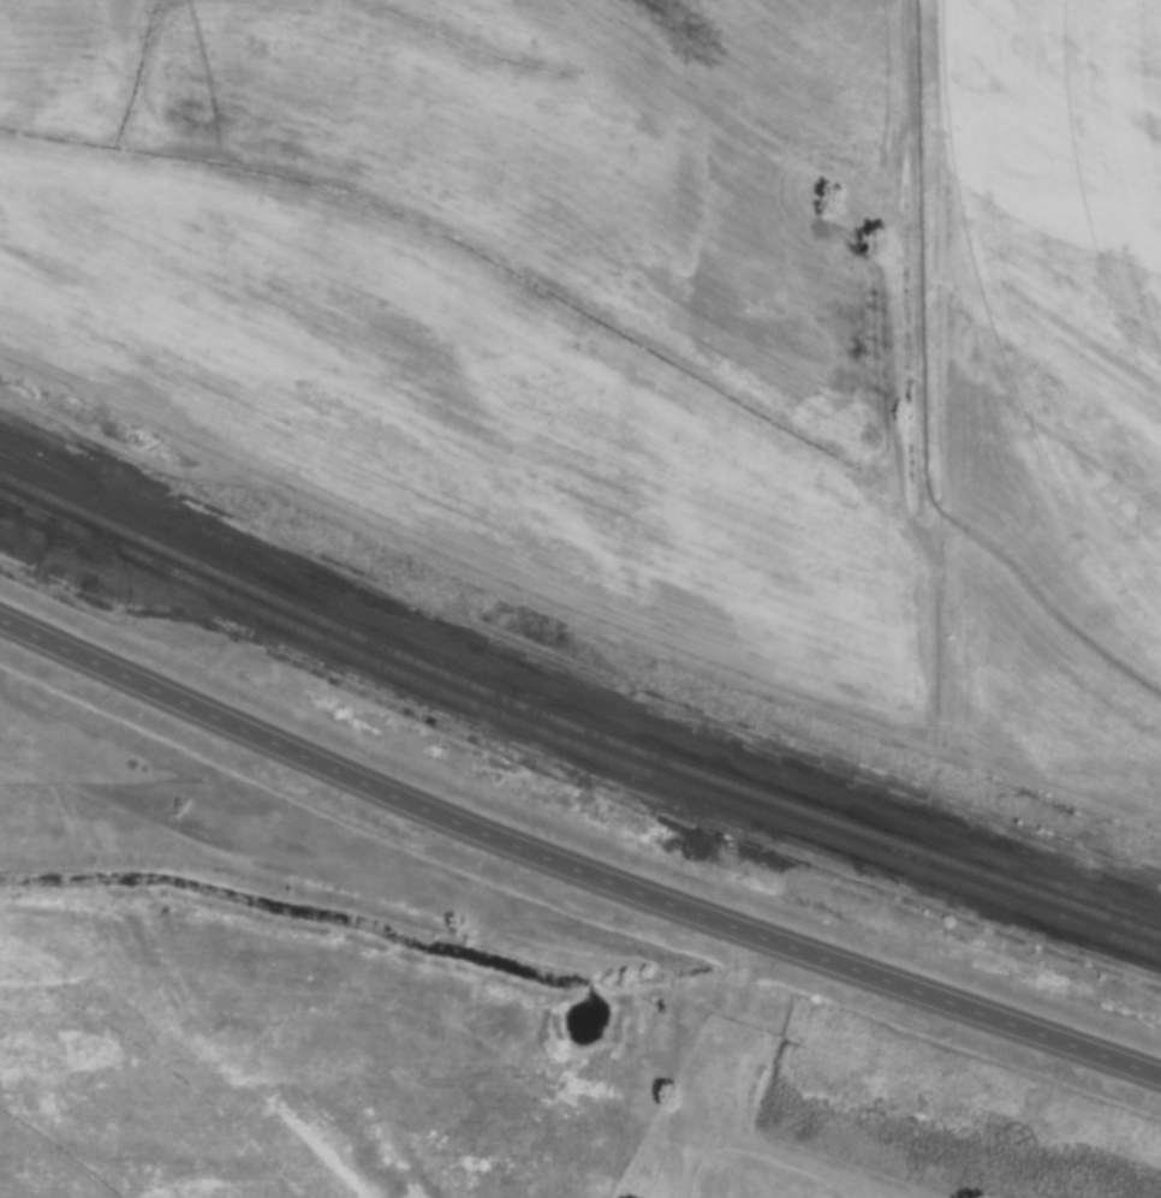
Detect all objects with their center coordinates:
railway: (60, 495)
railway: (56, 520)
railway: (572, 725)
railway: (572, 743)
road: (572, 866)

